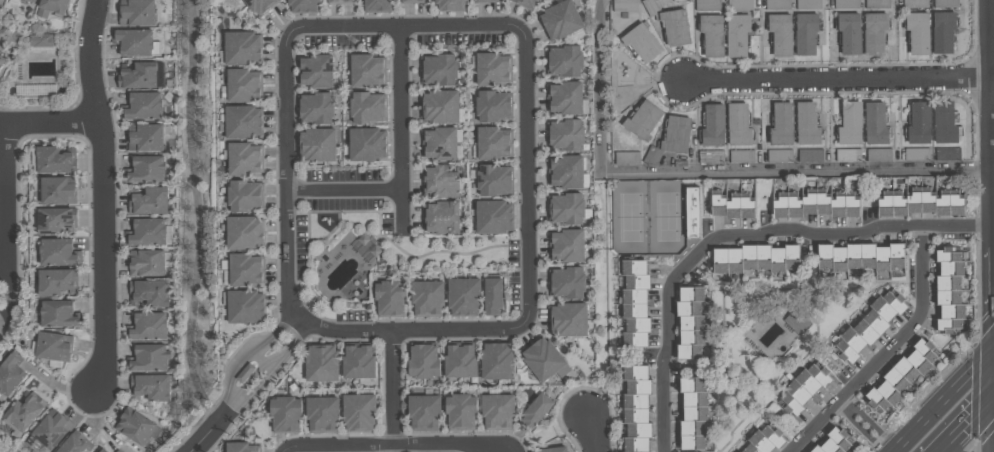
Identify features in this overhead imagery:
building: (28, 1)
building: (487, 1)
building: (678, 1)
building: (339, 2)
building: (413, 2)
building: (525, 4)
building: (777, 4)
building: (807, 4)
building: (845, 4)
building: (876, 4)
building: (914, 4)
building: (945, 4)
building: (449, 5)
building: (706, 5)
building: (739, 5)
building: (259, 6)
building: (302, 6)
building: (376, 6)
building: (623, 6)
building: (650, 7)
building: (50, 8)
building: (136, 13)
building: (559, 20)
road: (408, 28)
building: (675, 28)
building: (942, 32)
building: (917, 33)
building: (804, 34)
building: (848, 34)
building: (873, 34)
building: (736, 35)
building: (779, 35)
building: (711, 36)
building: (41, 41)
building: (132, 43)
building: (640, 43)
building: (241, 48)
building: (563, 61)
building: (1, 62)
building: (491, 69)
building: (437, 70)
building: (365, 71)
building: (314, 72)
building: (138, 76)
road: (838, 83)
building: (243, 85)
building: (36, 90)
building: (564, 98)
building: (492, 106)
building: (141, 107)
building: (439, 107)
building: (366, 108)
building: (315, 109)
building: (642, 120)
building: (241, 122)
road: (46, 123)
building: (919, 123)
building: (849, 124)
building: (874, 124)
building: (943, 124)
building: (780, 125)
building: (806, 125)
building: (712, 126)
building: (738, 126)
road: (399, 134)
building: (564, 135)
building: (675, 135)
building: (145, 139)
building: (438, 144)
building: (492, 144)
building: (315, 145)
building: (365, 145)
building: (946, 154)
building: (878, 155)
building: (916, 155)
building: (741, 156)
building: (778, 156)
building: (809, 156)
building: (847, 156)
building: (651, 157)
building: (710, 157)
building: (626, 158)
building: (243, 159)
building: (54, 161)
building: (145, 170)
building: (564, 172)
road: (709, 172)
road: (288, 176)
building: (493, 180)
building: (438, 182)
road: (525, 182)
road: (343, 189)
building: (55, 192)
road: (104, 196)
building: (243, 196)
road: (2, 198)
building: (147, 201)
building: (920, 205)
building: (814, 208)
building: (565, 210)
building: (691, 213)
building: (731, 213)
road: (197, 215)
building: (441, 218)
building: (492, 218)
park: (647, 218)
building: (54, 221)
road: (851, 232)
building: (145, 233)
building: (243, 233)
building: (565, 246)
building: (367, 247)
building: (55, 254)
building: (859, 257)
building: (754, 259)
road: (0, 262)
building: (145, 264)
building: (244, 270)
building: (55, 283)
building: (566, 283)
building: (948, 291)
building: (147, 294)
building: (462, 297)
building: (491, 297)
building: (389, 298)
building: (425, 298)
building: (634, 304)
building: (243, 307)
building: (57, 315)
building: (568, 320)
building: (795, 322)
building: (688, 324)
road: (912, 326)
building: (146, 327)
road: (410, 327)
building: (868, 327)
road: (668, 339)
building: (52, 348)
road: (246, 357)
building: (148, 358)
building: (542, 360)
road: (264, 361)
building: (460, 362)
building: (497, 362)
building: (357, 363)
building: (422, 363)
building: (320, 364)
building: (243, 373)
road: (273, 374)
building: (9, 375)
building: (900, 376)
building: (149, 387)
road: (390, 389)
building: (801, 389)
road: (944, 401)
building: (635, 408)
building: (535, 411)
building: (23, 412)
building: (498, 412)
building: (357, 413)
building: (422, 413)
building: (459, 413)
building: (320, 414)
building: (691, 414)
building: (284, 415)
road: (966, 423)
road: (812, 425)
road: (863, 425)
building: (133, 426)
building: (51, 429)
road: (592, 433)
road: (209, 434)
building: (762, 440)
building: (832, 442)
building: (74, 443)
road: (387, 444)
building: (240, 448)
road: (285, 448)
building: (553, 450)
building: (101, 451)

